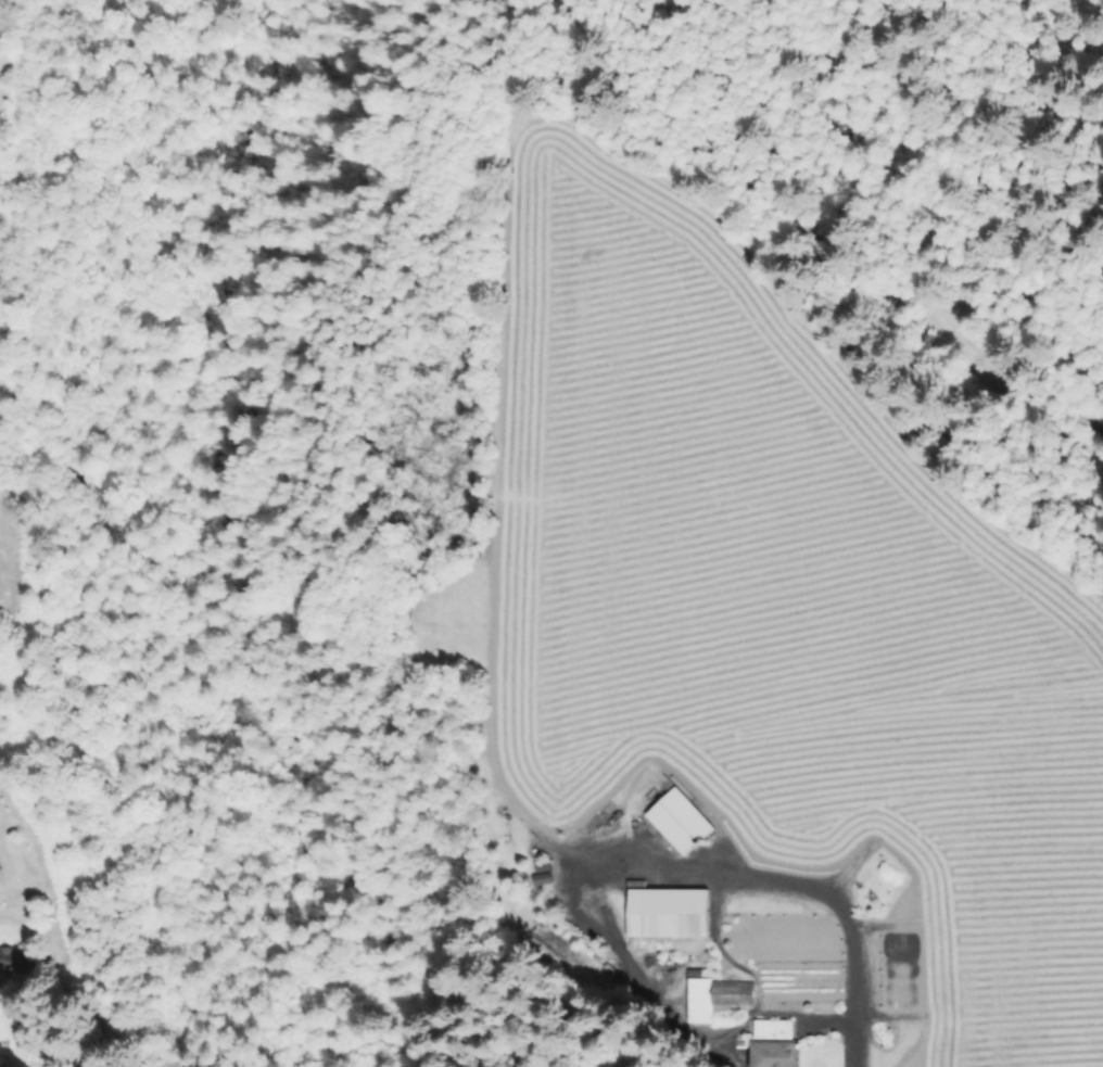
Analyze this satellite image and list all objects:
building: (598, 814)
building: (684, 821)
road: (799, 879)
building: (663, 912)
building: (15, 960)
building: (776, 1042)

